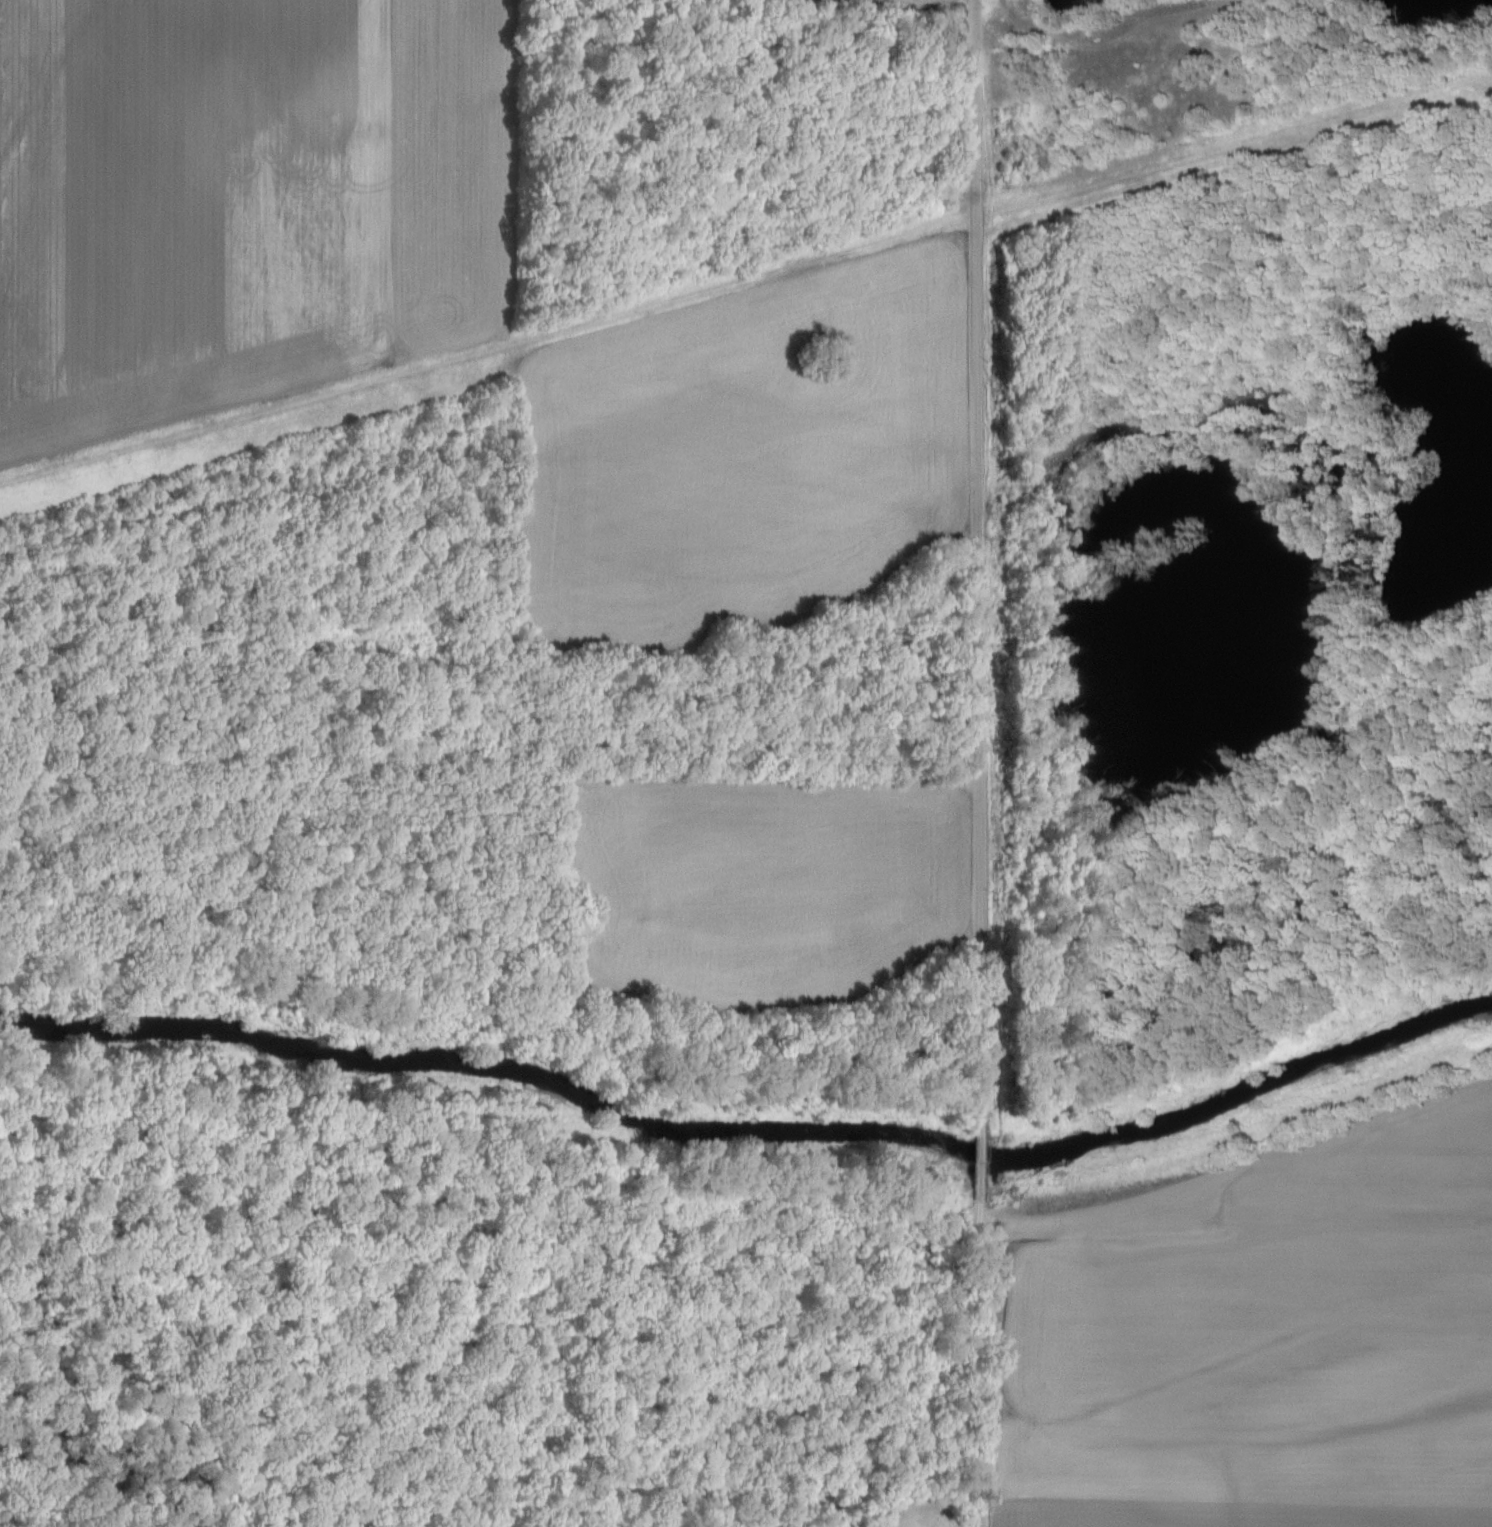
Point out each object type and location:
road: (981, 561)
river: (754, 1132)
road: (981, 1155)
road: (980, 1357)

